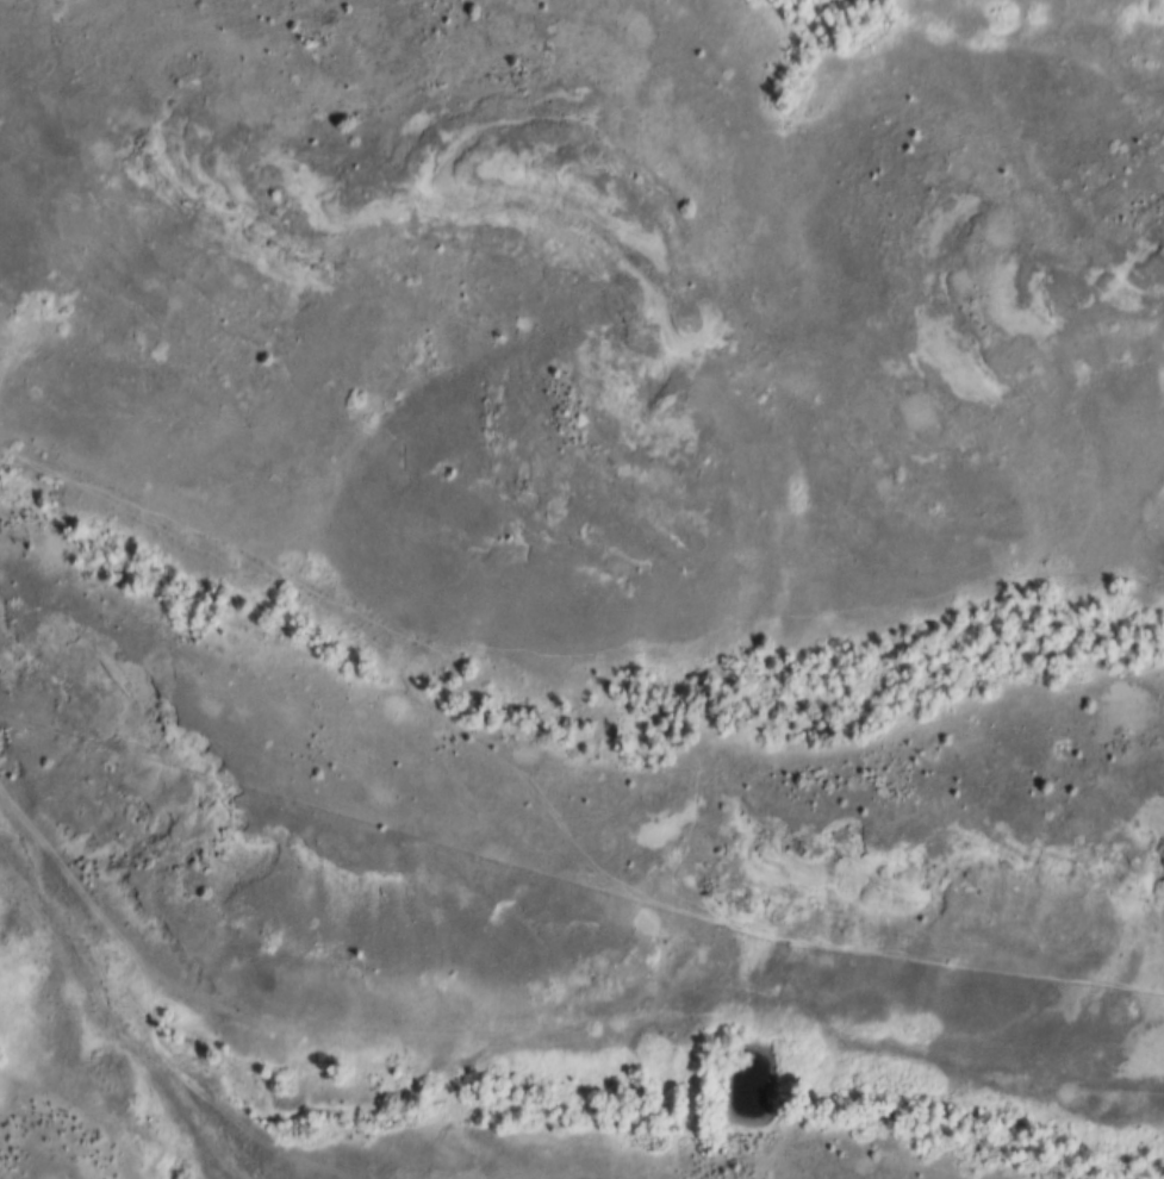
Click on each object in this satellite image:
road: (735, 972)
road: (143, 1012)

